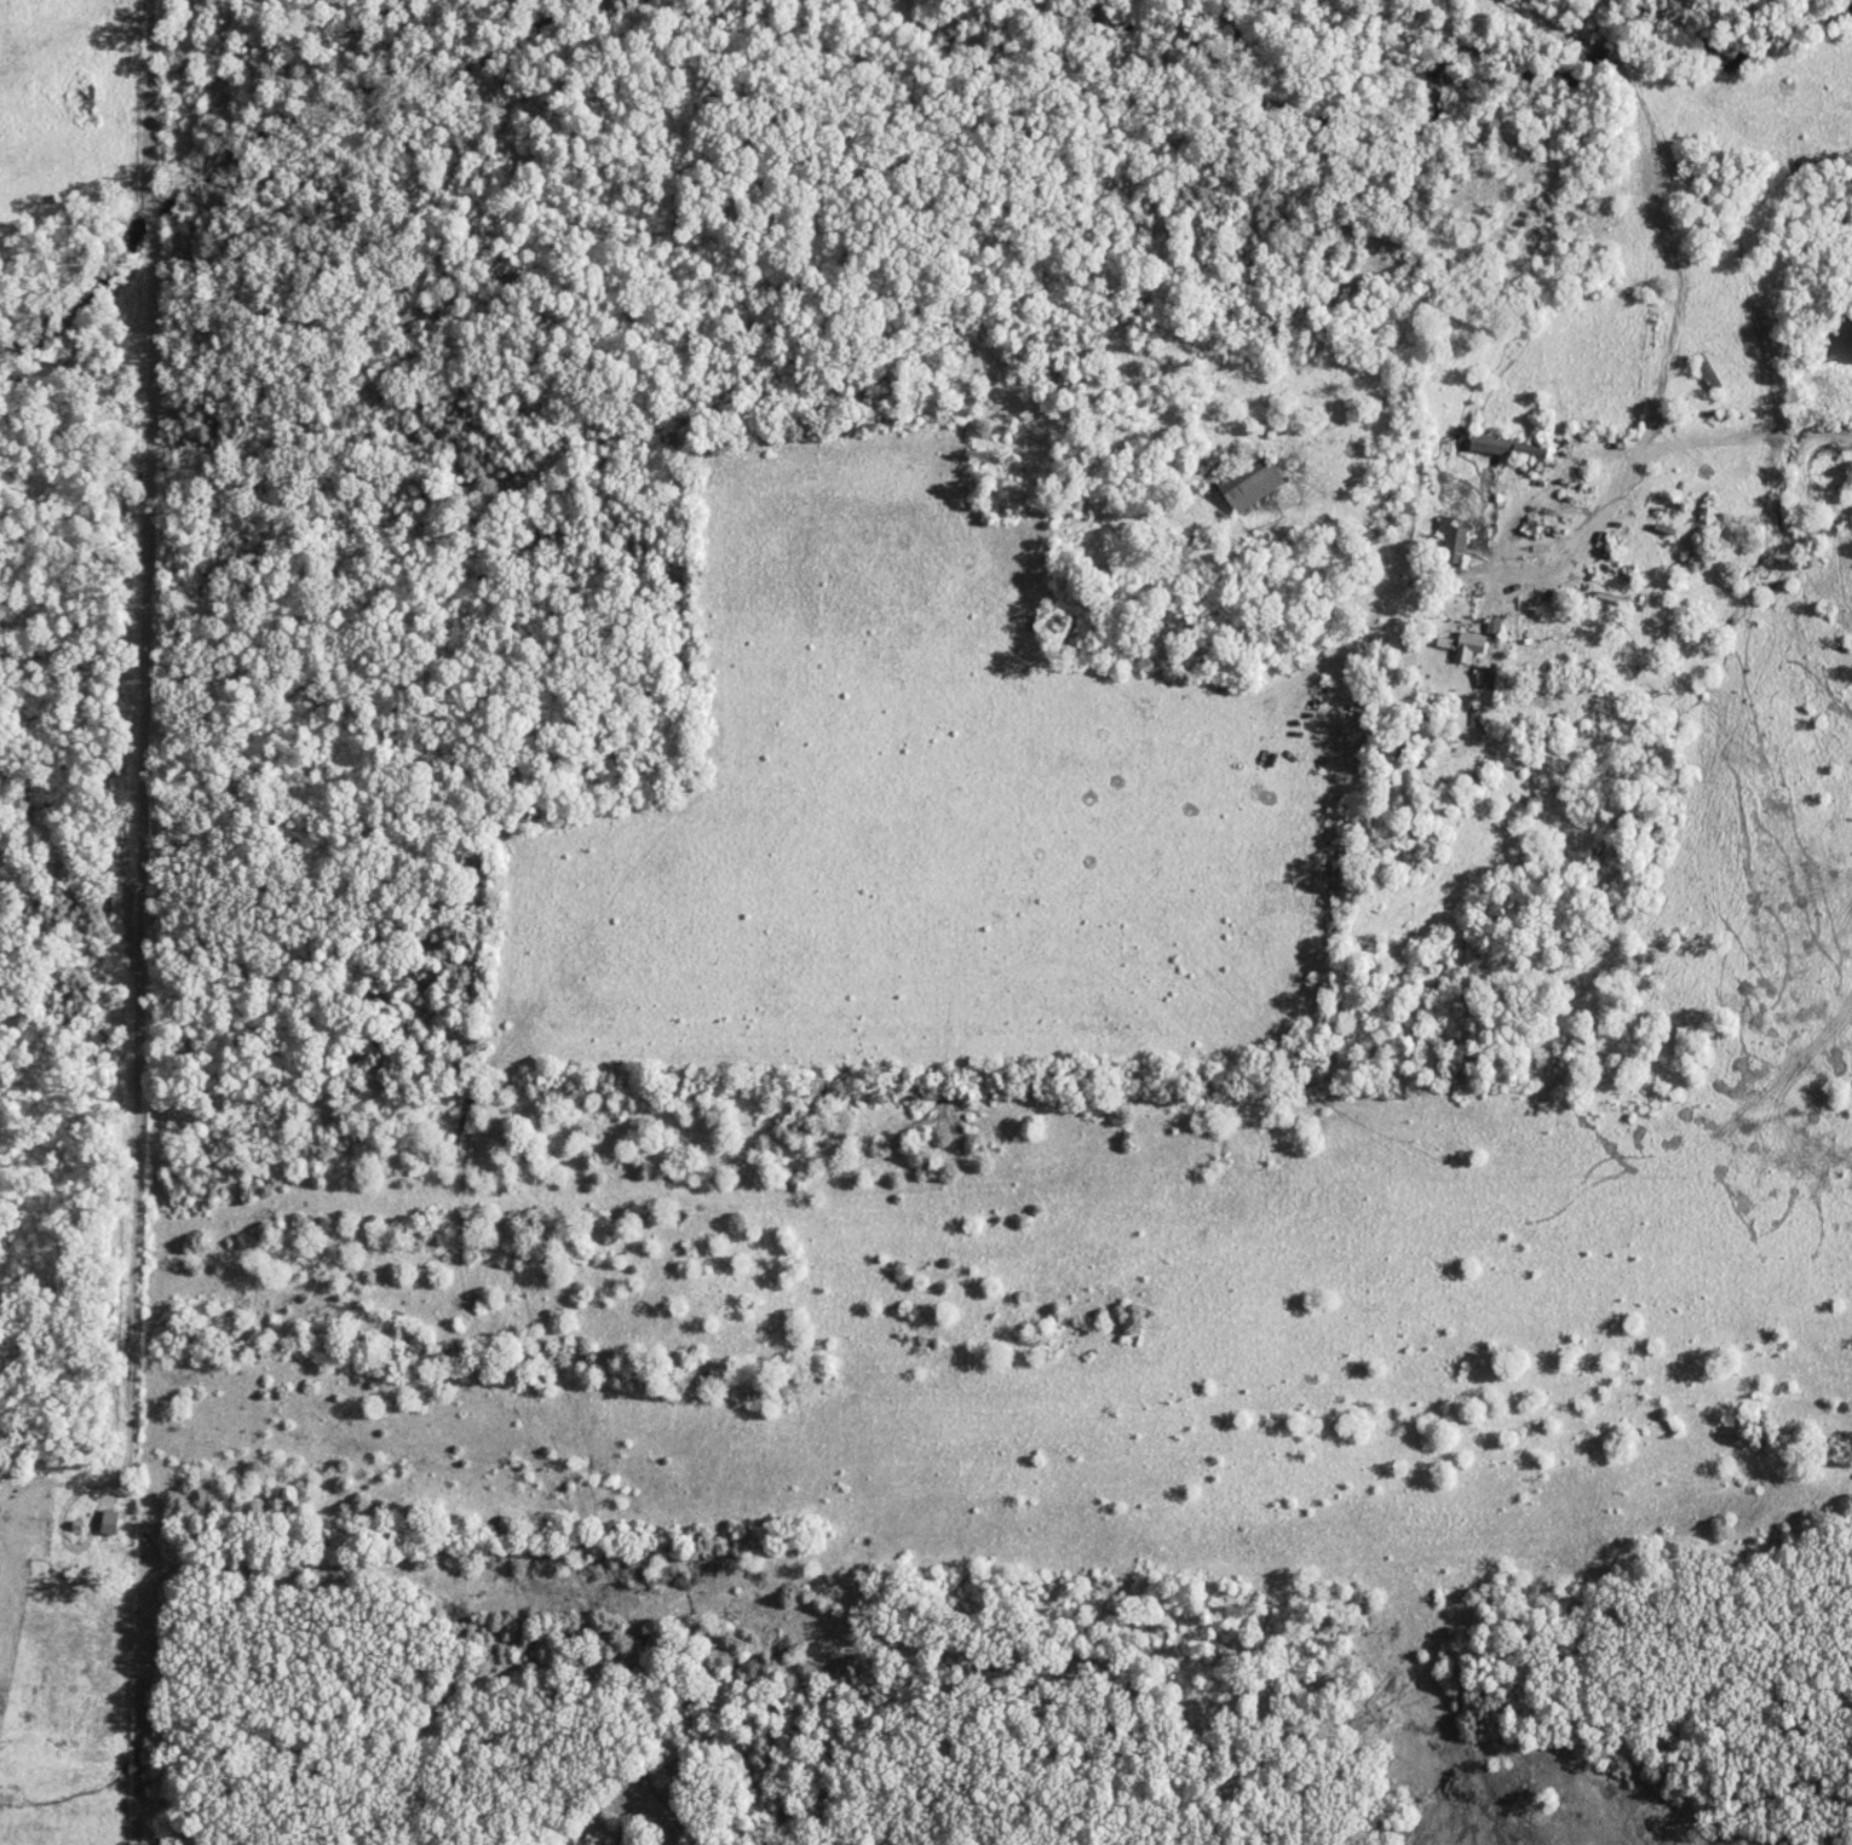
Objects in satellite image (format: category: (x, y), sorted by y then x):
road: (1545, 484)
building: (1253, 487)
road: (1609, 513)
building: (1454, 541)
building: (1495, 627)
road: (140, 736)
building: (111, 1524)

